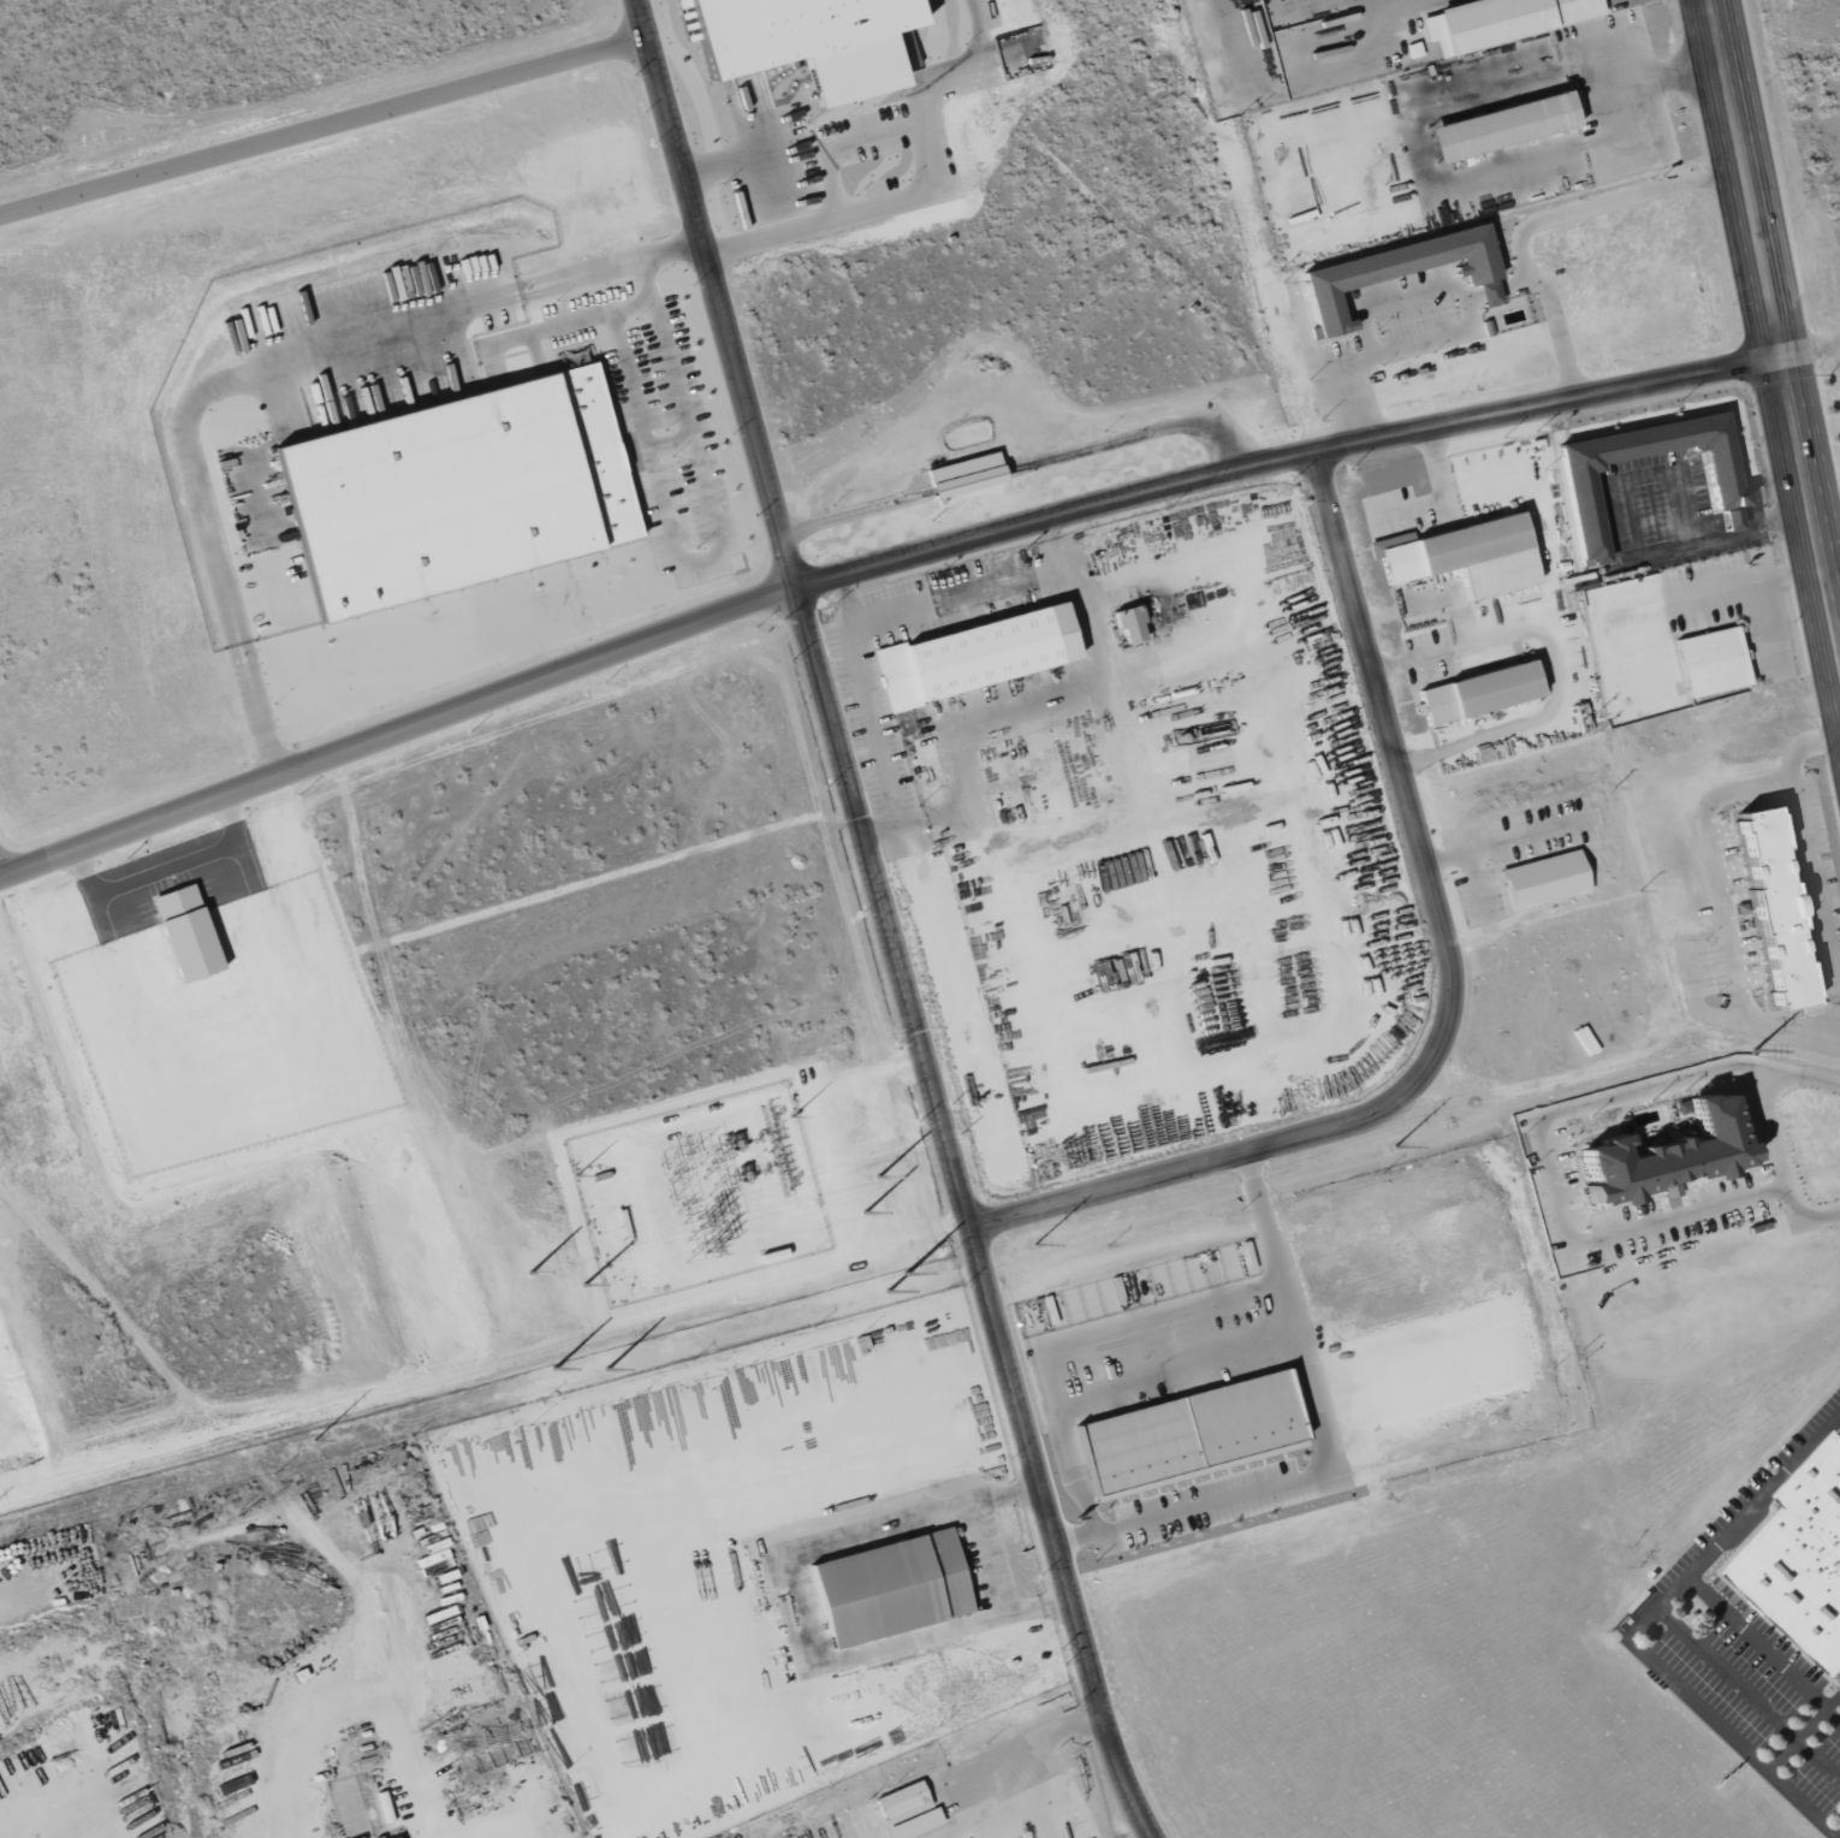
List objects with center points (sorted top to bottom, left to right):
building: (1498, 20)
building: (806, 41)
building: (1500, 125)
road: (836, 144)
road: (735, 161)
road: (918, 184)
road: (1605, 202)
road: (671, 251)
building: (1394, 269)
road: (588, 273)
road: (538, 285)
building: (1488, 292)
road: (1773, 326)
road: (1358, 351)
road: (233, 379)
road: (1286, 458)
building: (948, 478)
building: (1723, 488)
building: (455, 490)
road: (1438, 498)
building: (1464, 556)
road: (706, 558)
road: (1834, 598)
road: (1407, 610)
building: (1129, 624)
road: (1553, 633)
road: (236, 634)
road: (1460, 650)
building: (974, 656)
building: (1711, 662)
building: (1478, 692)
road: (872, 701)
road: (260, 723)
road: (399, 739)
building: (922, 758)
building: (1544, 879)
building: (1771, 909)
road: (891, 923)
building: (185, 933)
road: (1447, 994)
road: (1364, 1032)
power tower: (1746, 1050)
power tower: (1387, 1148)
building: (1663, 1152)
power tower: (1027, 1246)
power tower: (666, 1344)
road: (1114, 1381)
building: (1189, 1434)
power tower: (305, 1441)
road: (1320, 1441)
building: (1804, 1557)
road: (985, 1561)
building: (890, 1587)
road: (1675, 1603)
road: (803, 1608)
building: (901, 1802)
building: (914, 1824)
building: (394, 1837)

